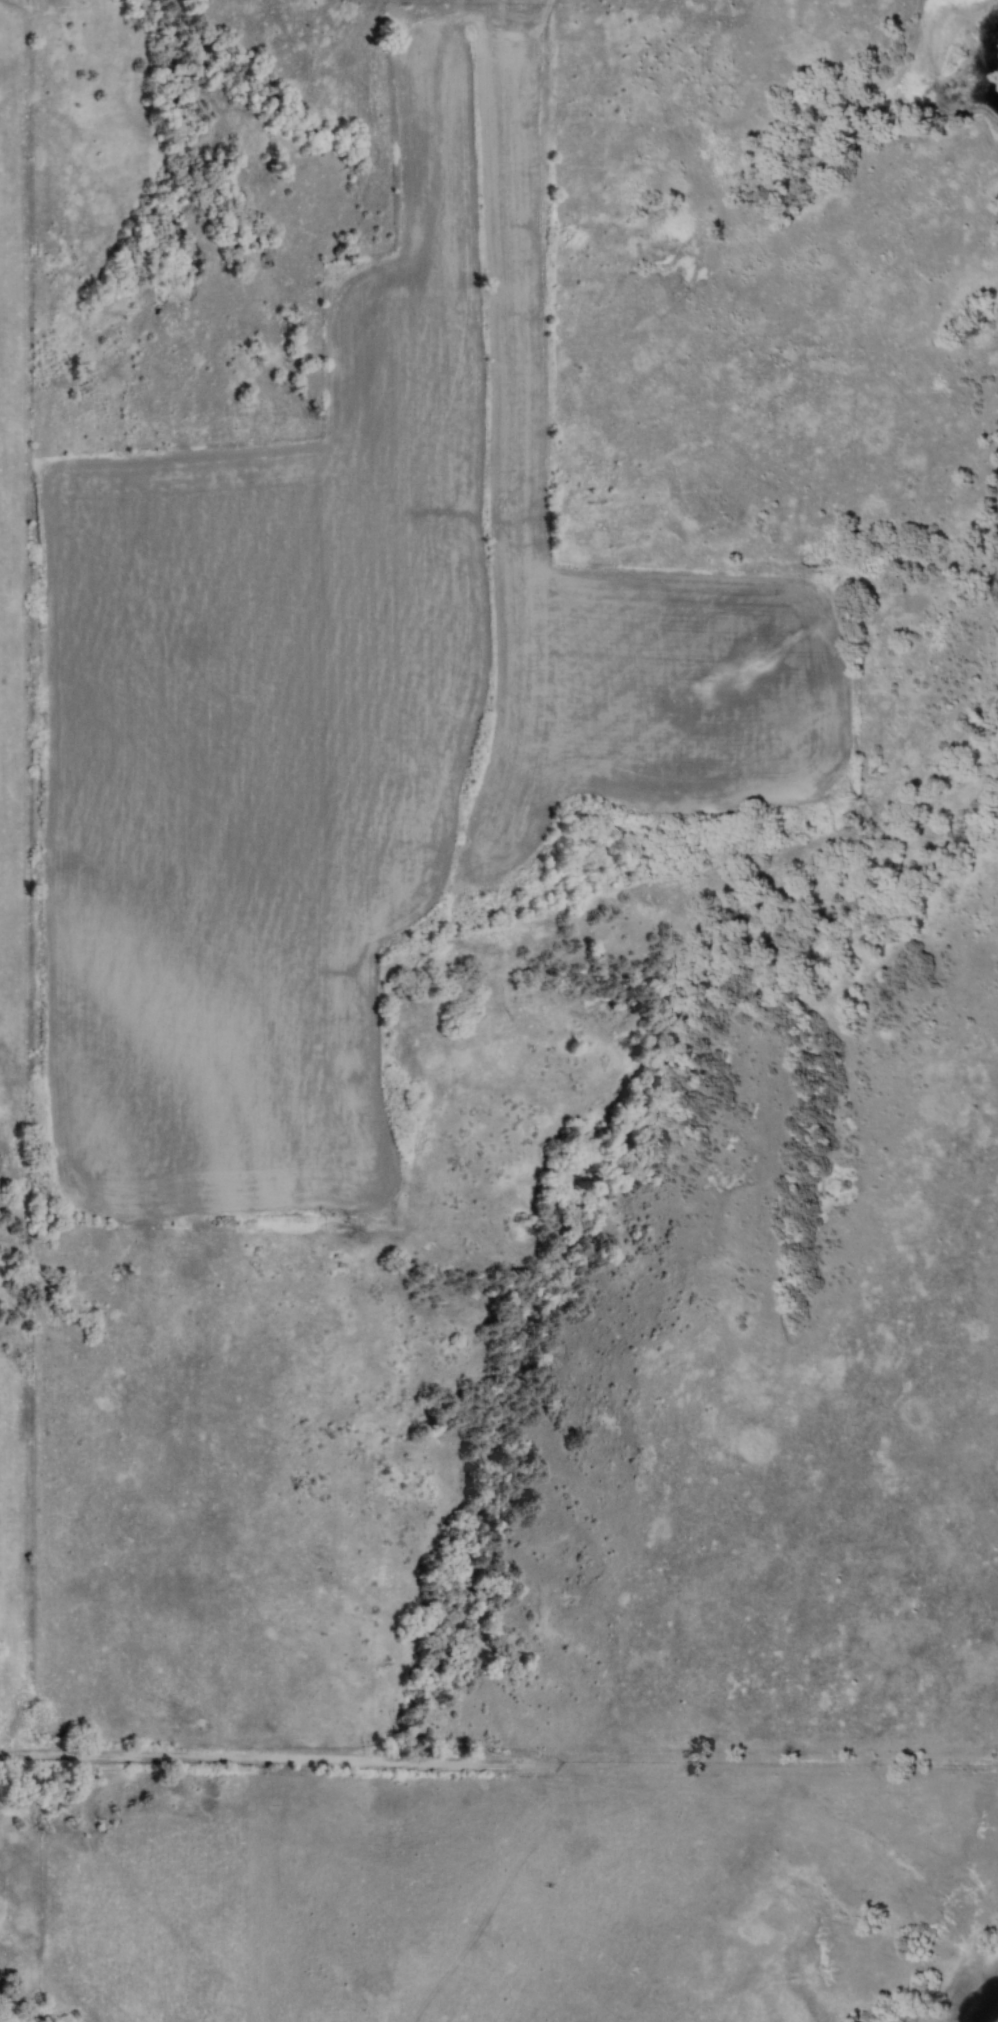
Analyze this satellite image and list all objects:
road: (499, 1761)

